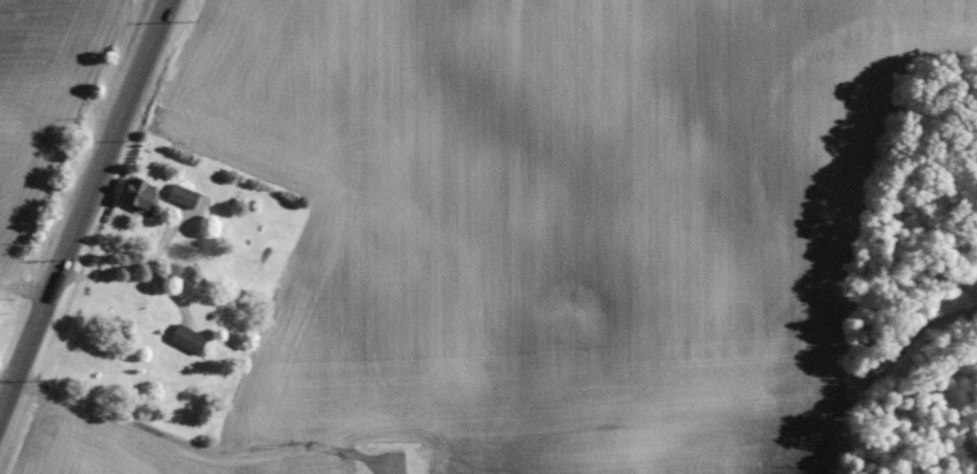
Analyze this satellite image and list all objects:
building: (181, 194)
road: (88, 217)
airport runway: (395, 467)

